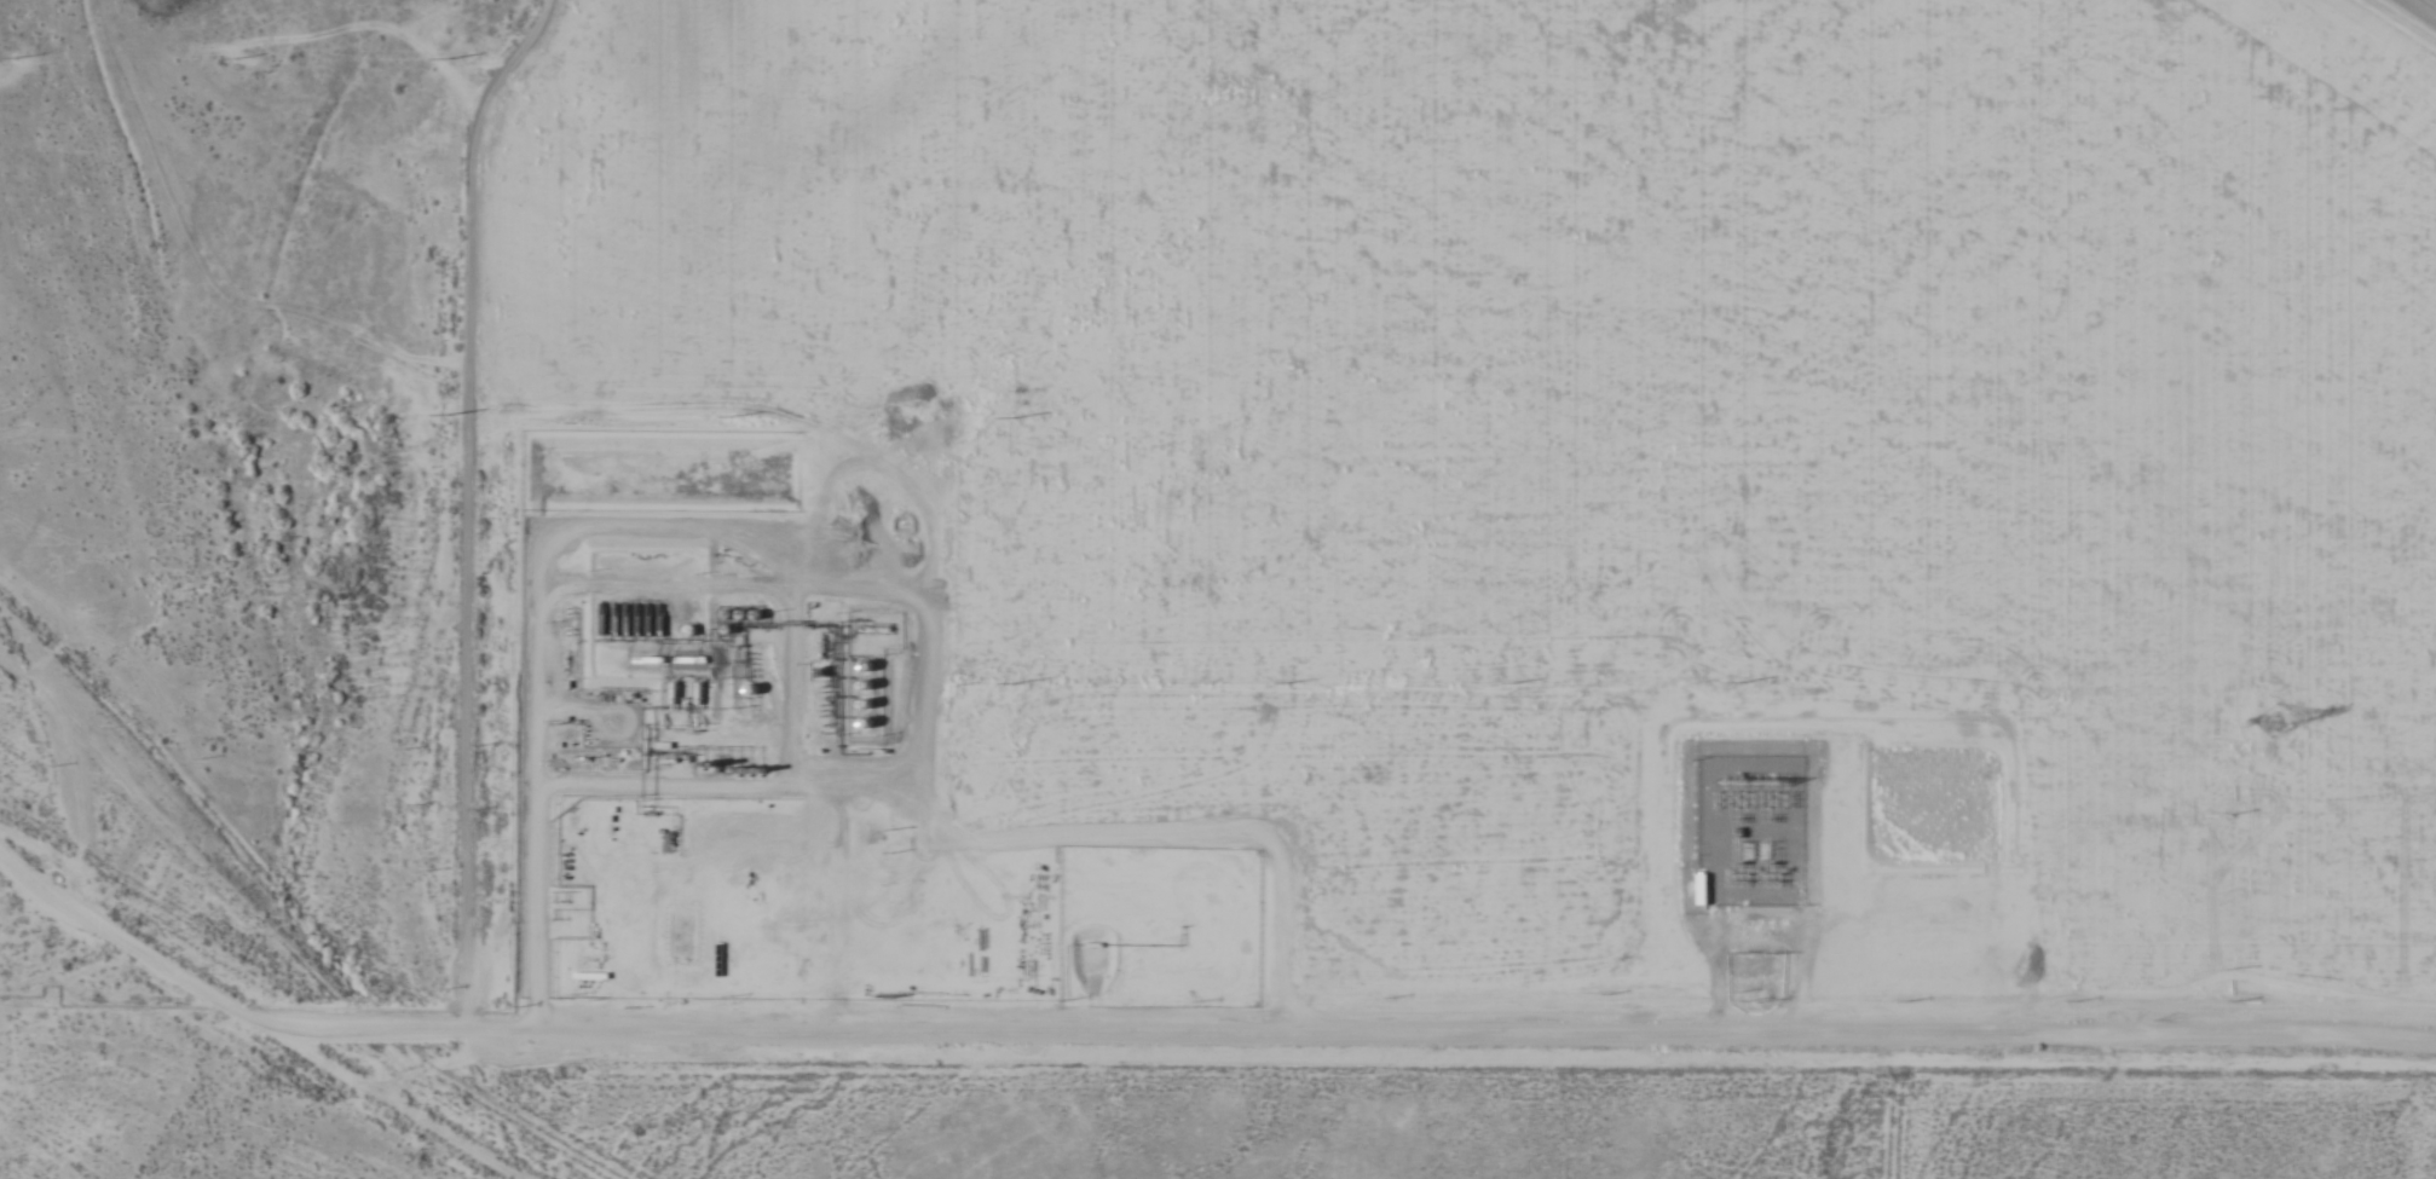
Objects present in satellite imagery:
power tower: (2279, 723)
road: (256, 1021)

